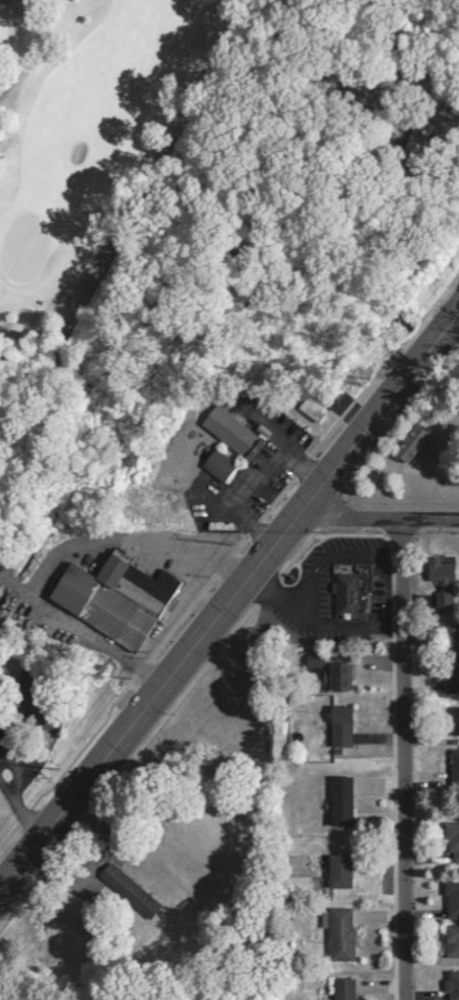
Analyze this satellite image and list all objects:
road: (431, 107)
park: (103, 138)
road: (435, 157)
park: (20, 251)
building: (308, 408)
building: (227, 431)
building: (408, 442)
building: (214, 464)
road: (246, 471)
road: (378, 516)
road: (58, 554)
building: (438, 568)
road: (271, 588)
building: (347, 589)
road: (299, 592)
road: (229, 596)
building: (110, 597)
building: (312, 660)
building: (452, 673)
building: (335, 675)
building: (453, 719)
building: (337, 725)
road: (394, 758)
building: (453, 762)
road: (16, 780)
building: (337, 800)
building: (450, 841)
building: (336, 870)
building: (132, 895)
building: (450, 898)
building: (337, 932)
building: (451, 939)
building: (451, 984)
building: (341, 988)

